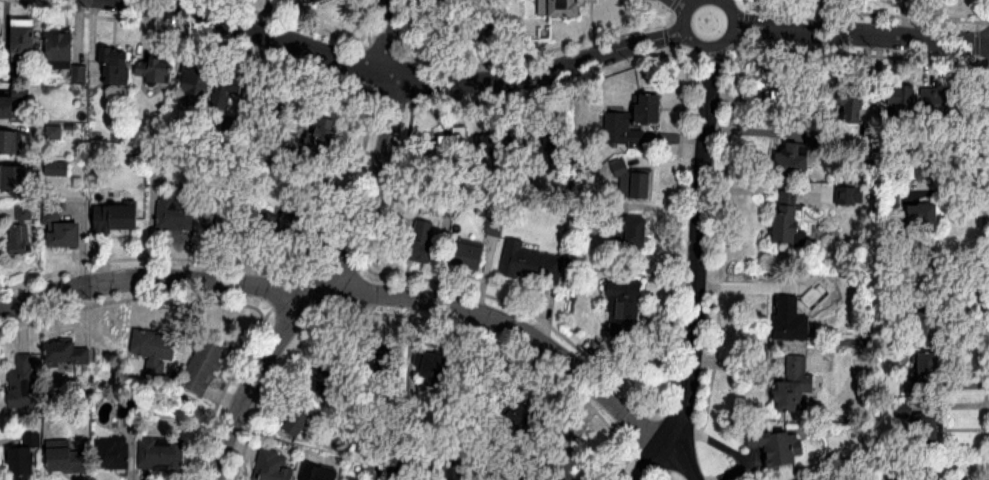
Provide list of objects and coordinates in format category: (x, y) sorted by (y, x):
building: (317, 0)
building: (560, 7)
road: (682, 11)
building: (480, 25)
building: (24, 39)
building: (61, 50)
building: (114, 66)
building: (154, 70)
road: (548, 72)
building: (196, 85)
building: (232, 93)
building: (783, 98)
building: (852, 102)
building: (900, 103)
building: (269, 104)
building: (941, 104)
building: (12, 107)
building: (636, 114)
building: (323, 134)
building: (558, 136)
building: (9, 142)
building: (451, 144)
building: (497, 147)
building: (792, 159)
building: (922, 159)
building: (15, 178)
building: (636, 184)
building: (176, 213)
building: (210, 216)
building: (117, 217)
building: (788, 217)
building: (232, 218)
building: (924, 218)
building: (288, 220)
road: (701, 226)
building: (60, 227)
building: (494, 227)
building: (635, 231)
building: (22, 232)
building: (418, 242)
road: (343, 254)
building: (470, 256)
building: (531, 263)
road: (353, 294)
building: (625, 305)
building: (790, 313)
building: (927, 324)
building: (153, 345)
building: (68, 353)
building: (380, 361)
building: (436, 365)
building: (203, 367)
building: (924, 373)
building: (326, 378)
building: (22, 383)
building: (795, 384)
building: (301, 419)
building: (930, 430)
building: (777, 446)
building: (112, 453)
building: (161, 454)
building: (65, 457)
building: (24, 458)
building: (313, 458)
building: (565, 460)
road: (651, 464)
road: (680, 464)
building: (272, 467)
building: (459, 470)
building: (509, 476)
building: (320, 477)

